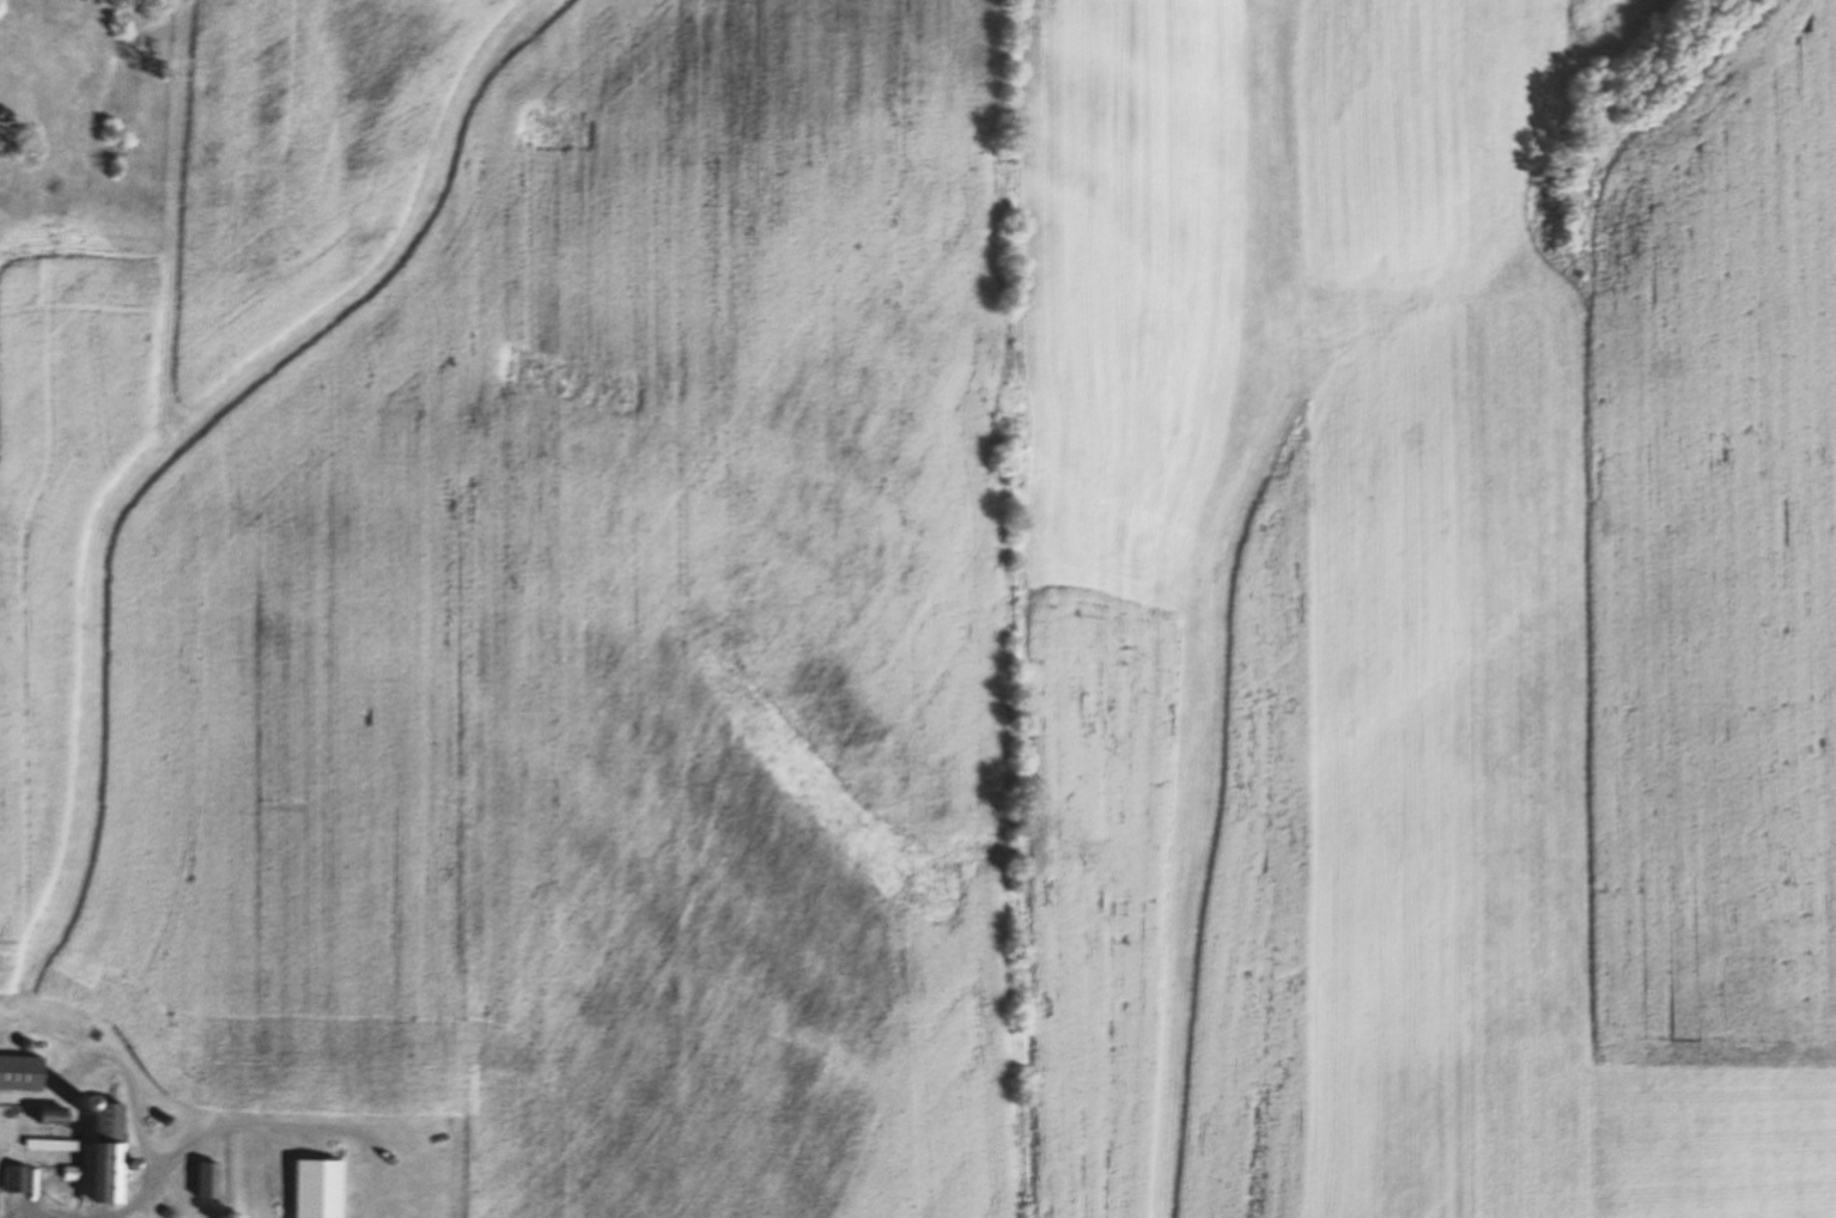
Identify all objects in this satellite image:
road: (115, 1064)
building: (19, 1071)
road: (231, 1125)
building: (101, 1152)
building: (12, 1177)
building: (205, 1180)
building: (314, 1188)

